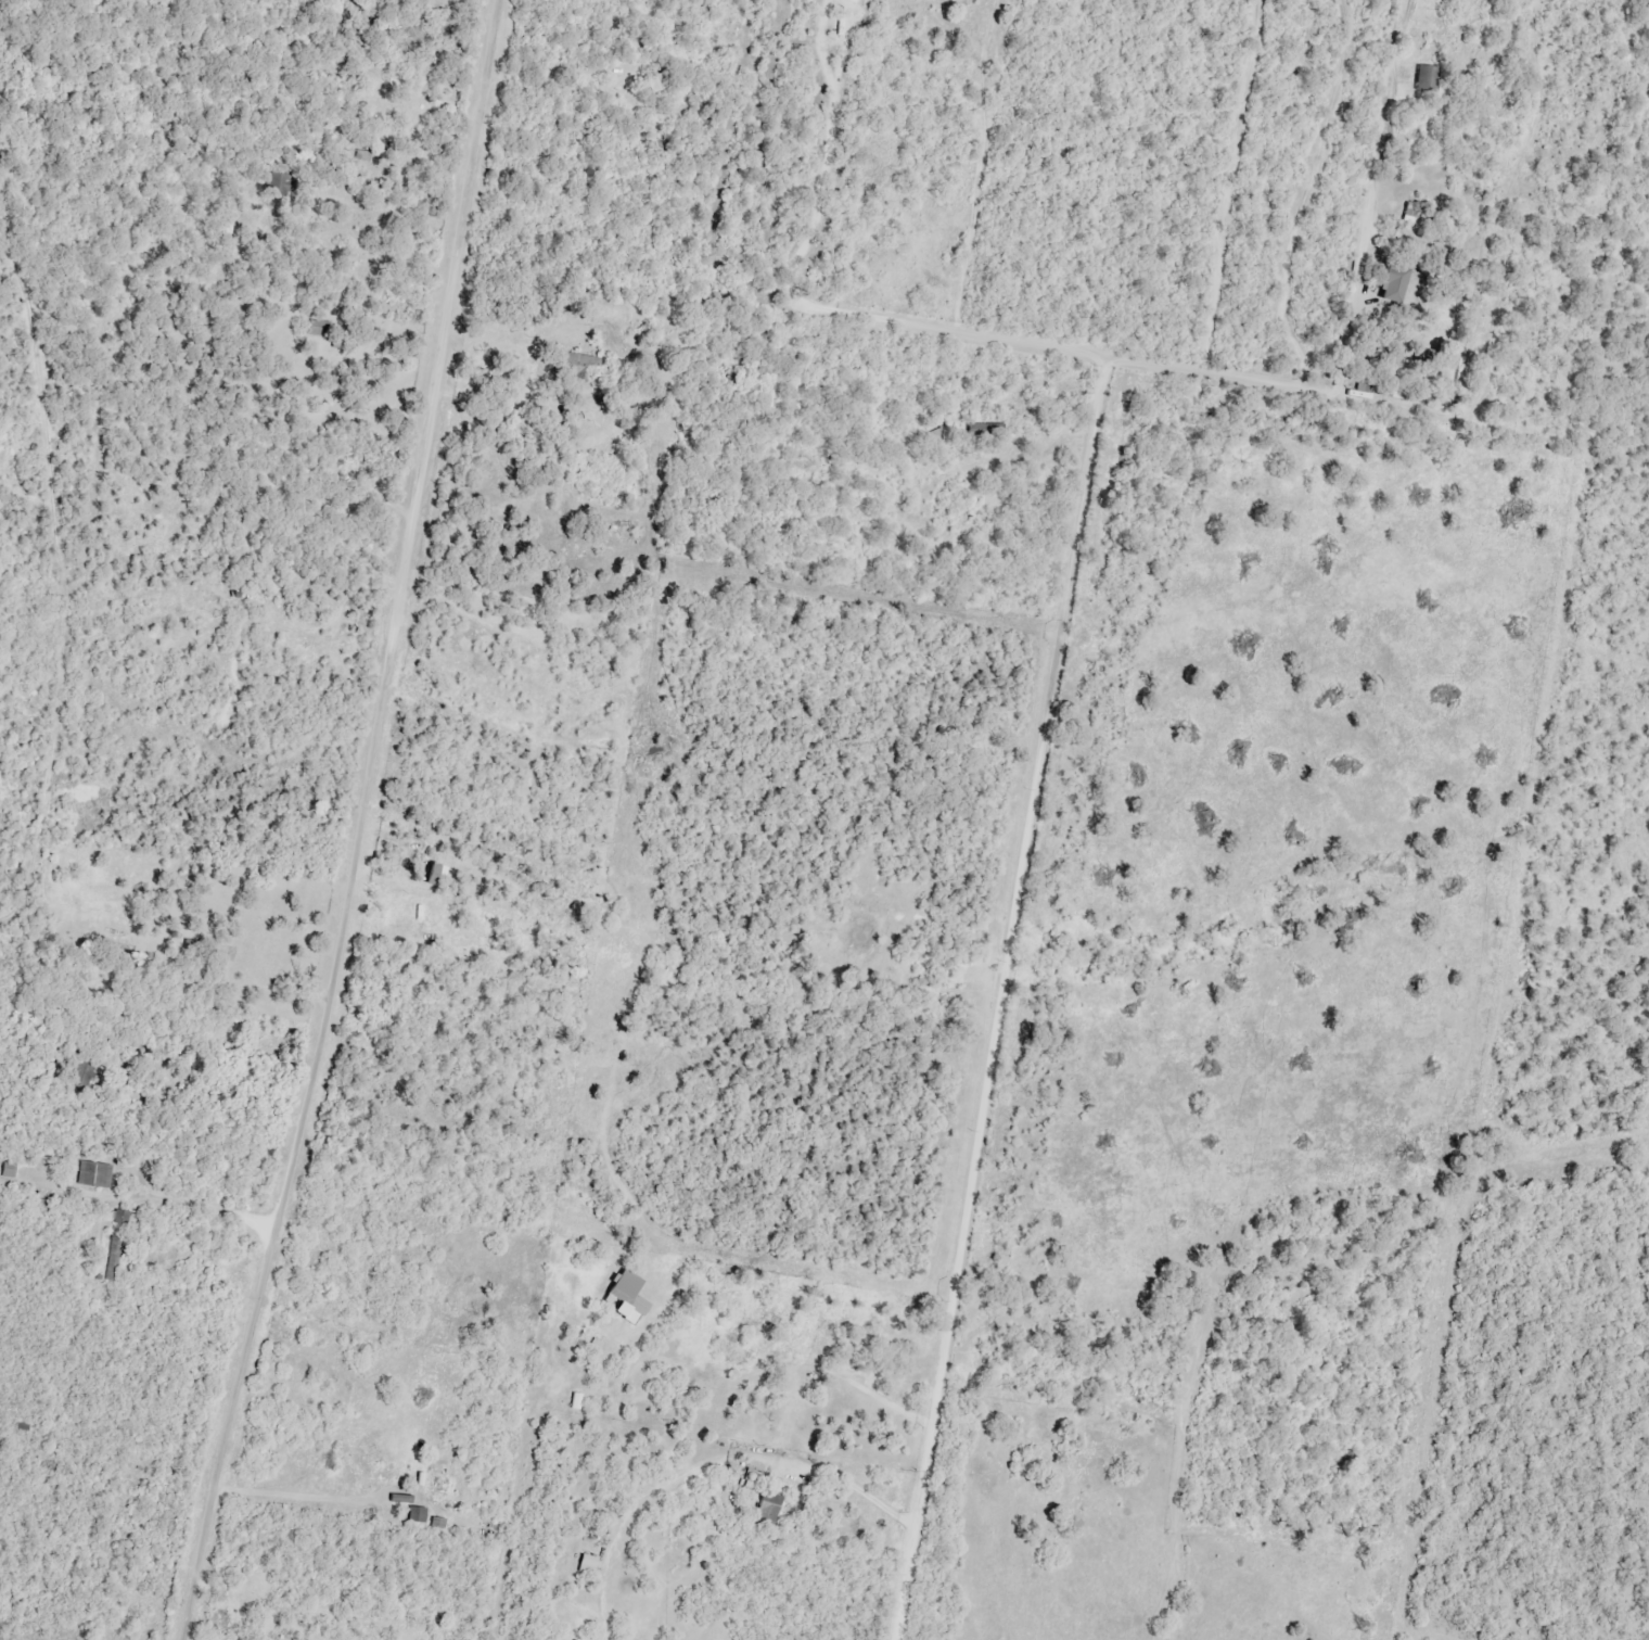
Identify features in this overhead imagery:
building: (1427, 79)
building: (660, 82)
road: (981, 165)
road: (1370, 199)
building: (1417, 217)
road: (811, 234)
building: (1394, 283)
building: (320, 330)
building: (337, 342)
building: (1424, 356)
road: (1148, 363)
building: (583, 369)
road: (360, 823)
road: (1000, 999)
building: (8, 1170)
building: (94, 1177)
road: (157, 1211)
building: (122, 1218)
building: (113, 1260)
building: (625, 1302)
building: (373, 1450)
road: (714, 1474)
road: (299, 1508)
building: (767, 1511)
building: (417, 1516)
building: (437, 1526)
building: (588, 1565)

